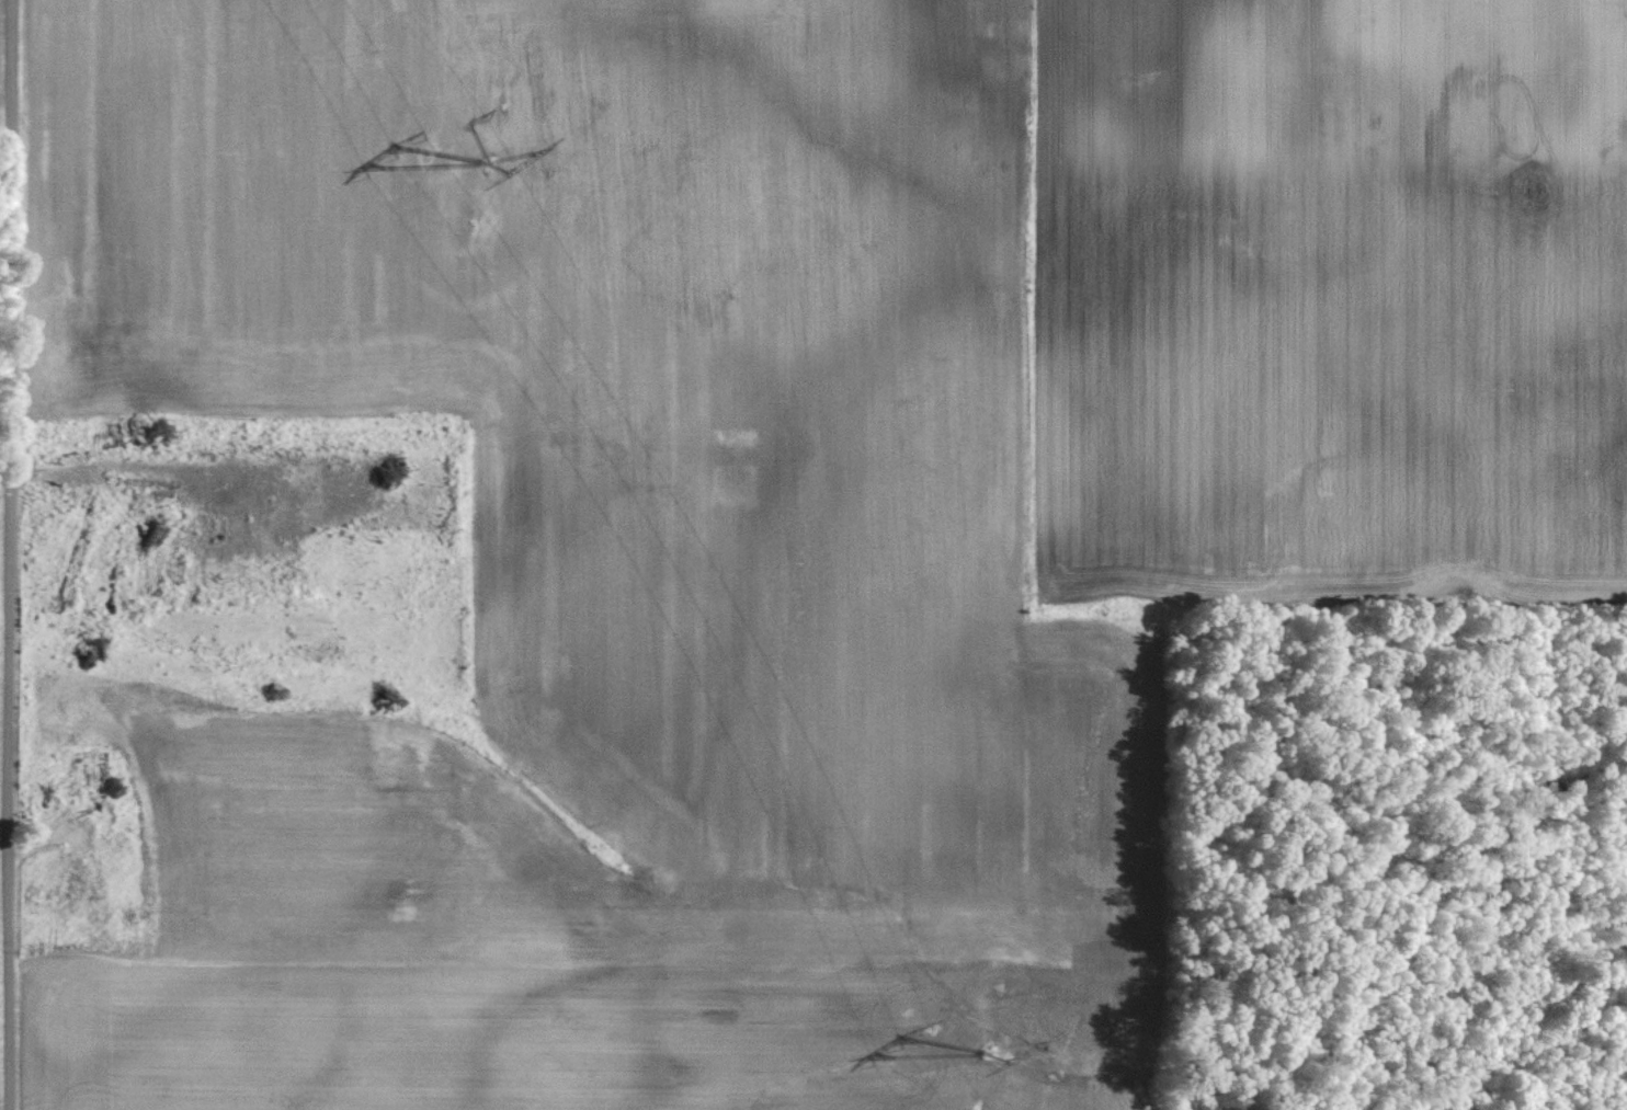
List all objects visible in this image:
power tower: (485, 164)
road: (7, 554)
building: (83, 893)
power tower: (987, 1053)

